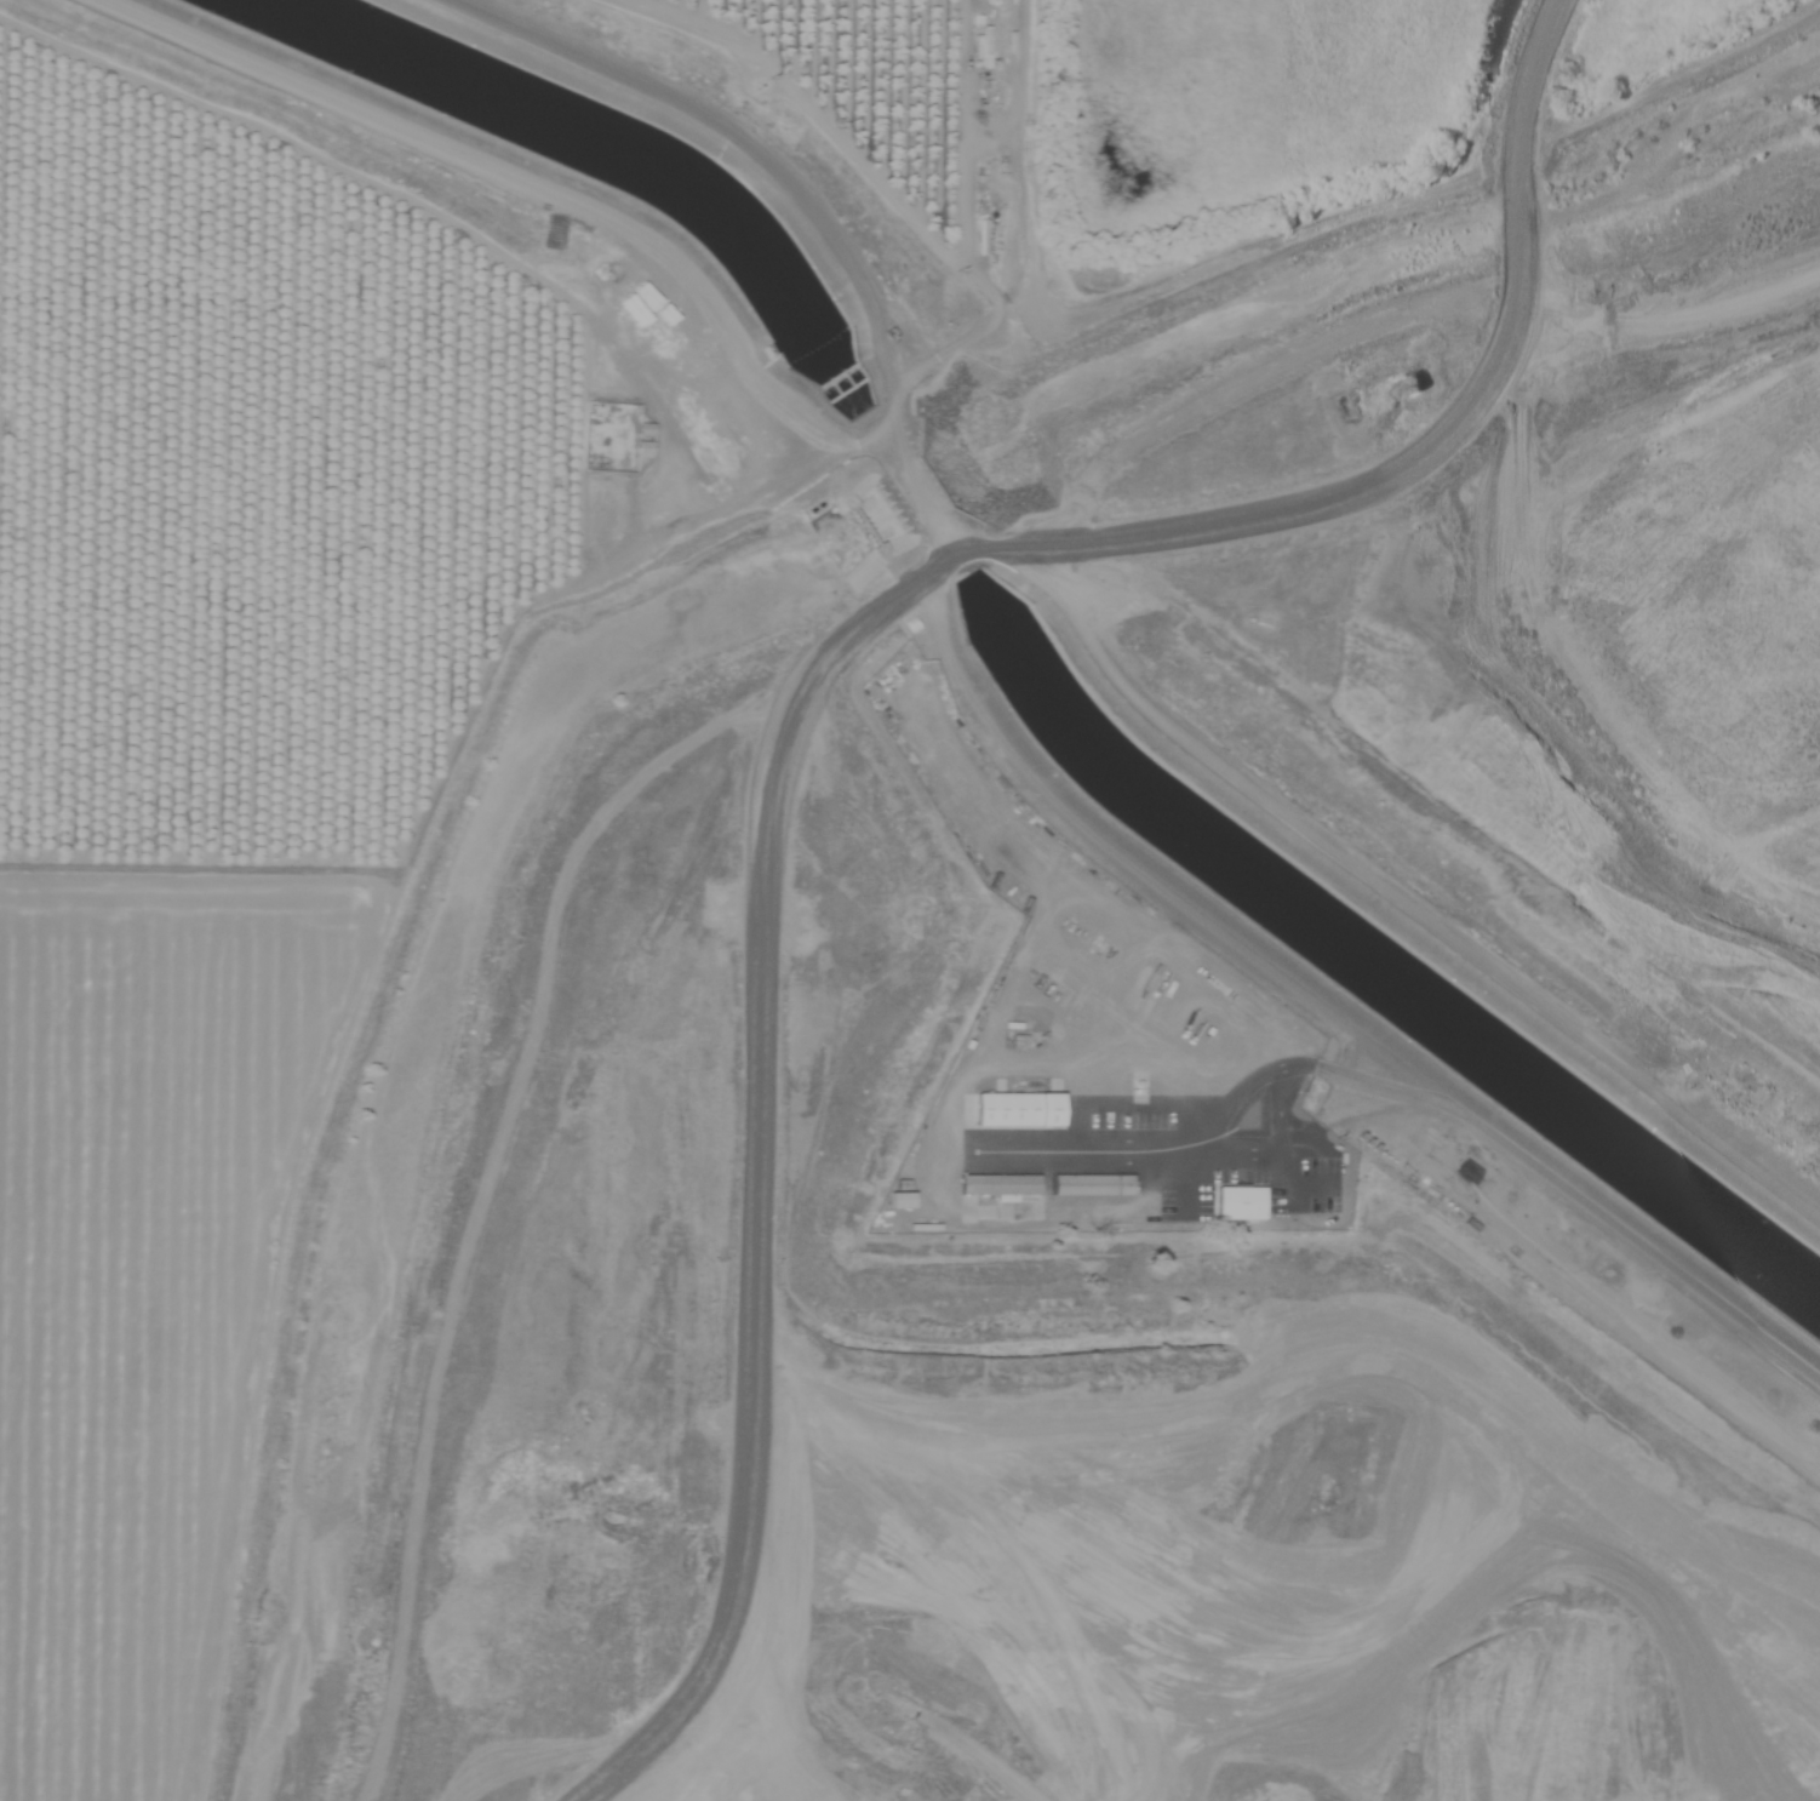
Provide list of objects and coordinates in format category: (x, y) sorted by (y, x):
building: (983, 47)
river: (397, 118)
road: (1014, 245)
road: (1386, 322)
road: (1465, 419)
road: (1066, 605)
crop: (325, 629)
road: (188, 873)
road: (1324, 1002)
building: (1009, 1109)
building: (992, 1184)
building: (1086, 1184)
building: (1234, 1201)

